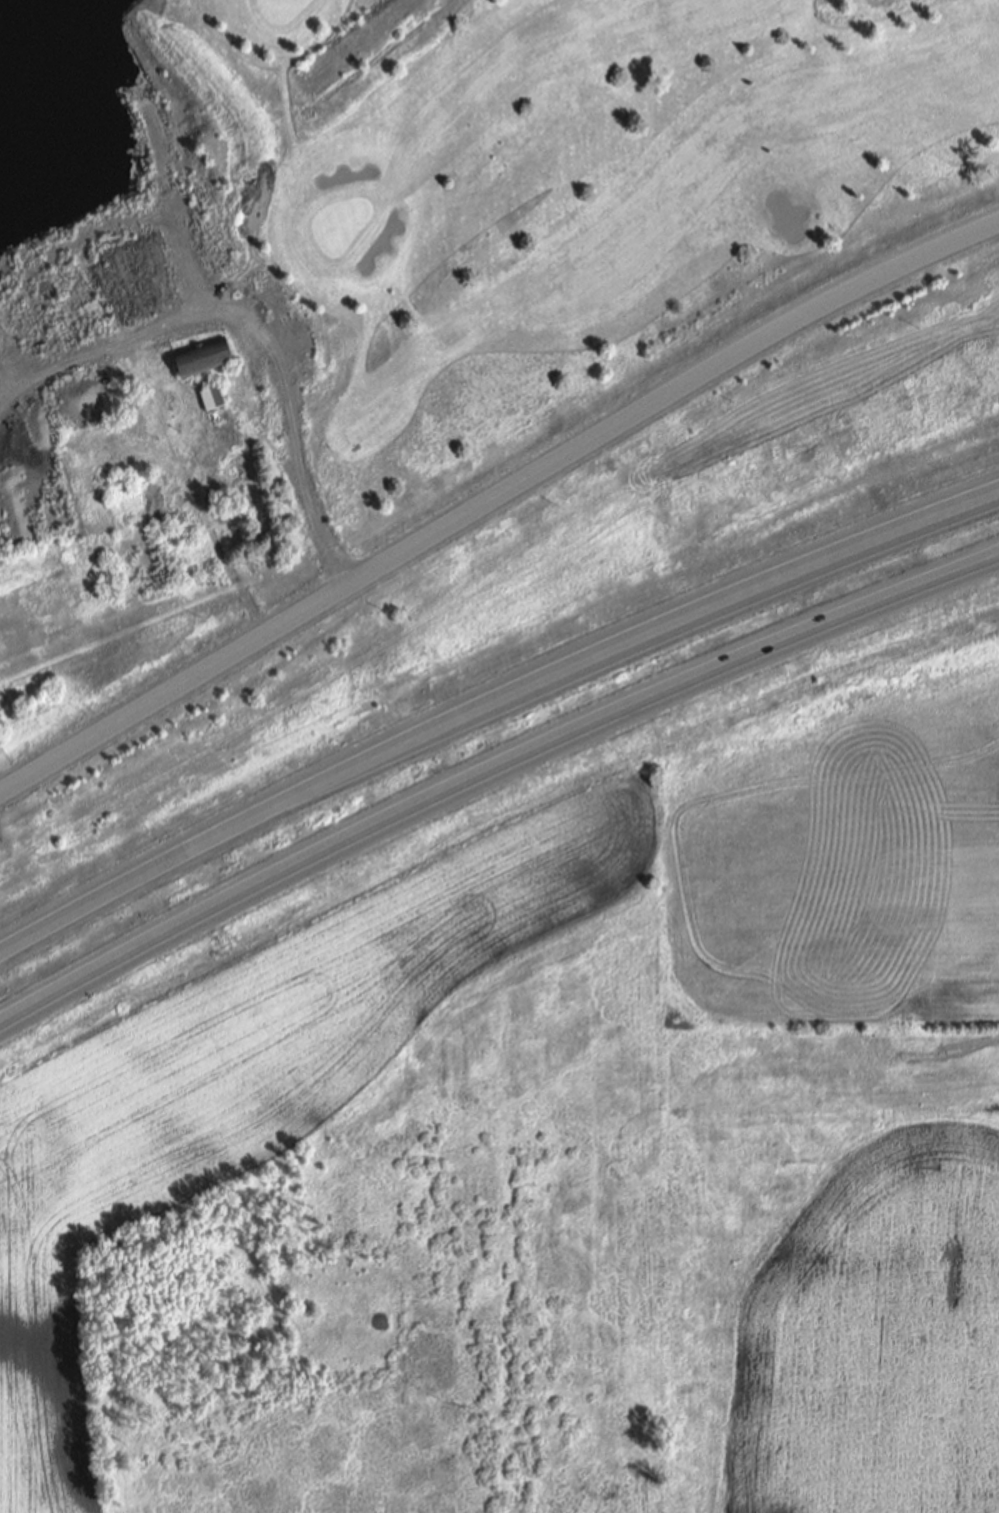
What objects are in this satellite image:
park: (580, 186)
quarry: (144, 319)
building: (206, 357)
building: (215, 398)
road: (288, 421)
road: (493, 494)
road: (490, 699)
road: (490, 770)

